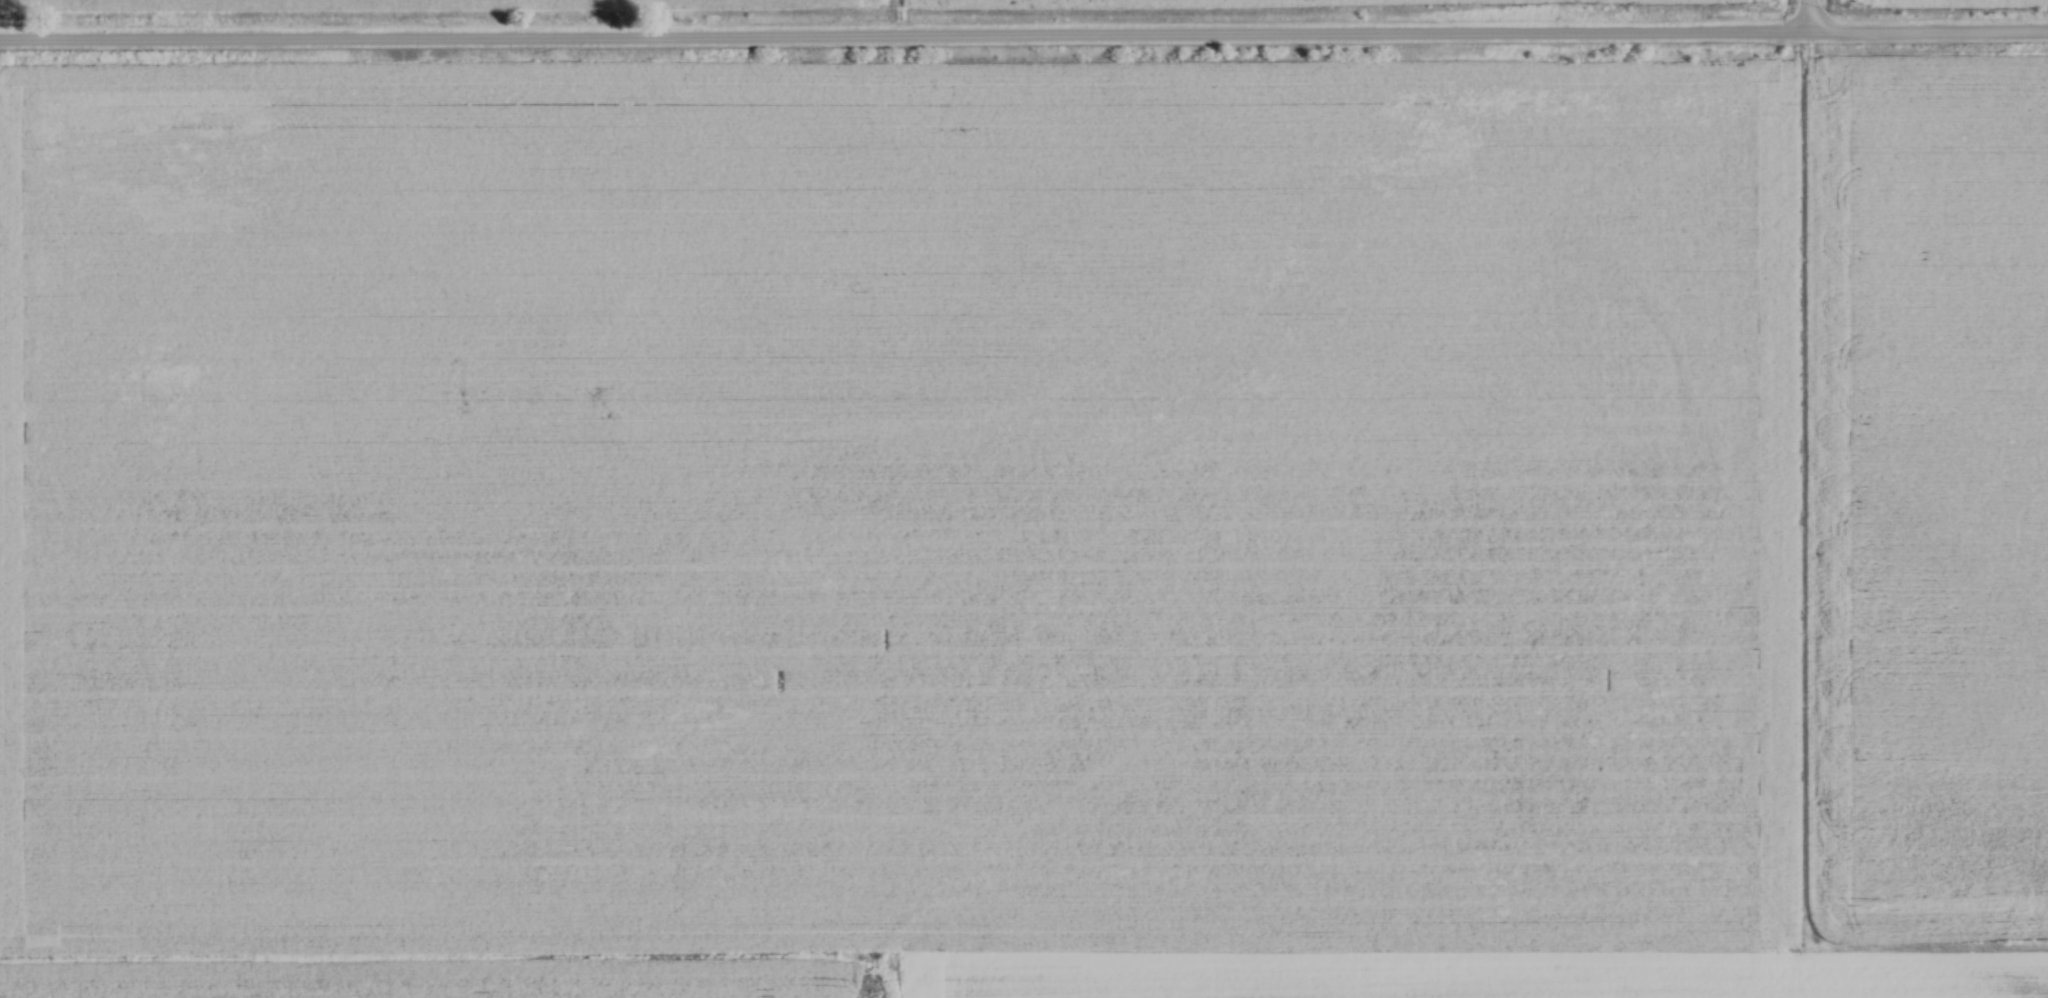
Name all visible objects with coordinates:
road: (1806, 18)
road: (1023, 39)

